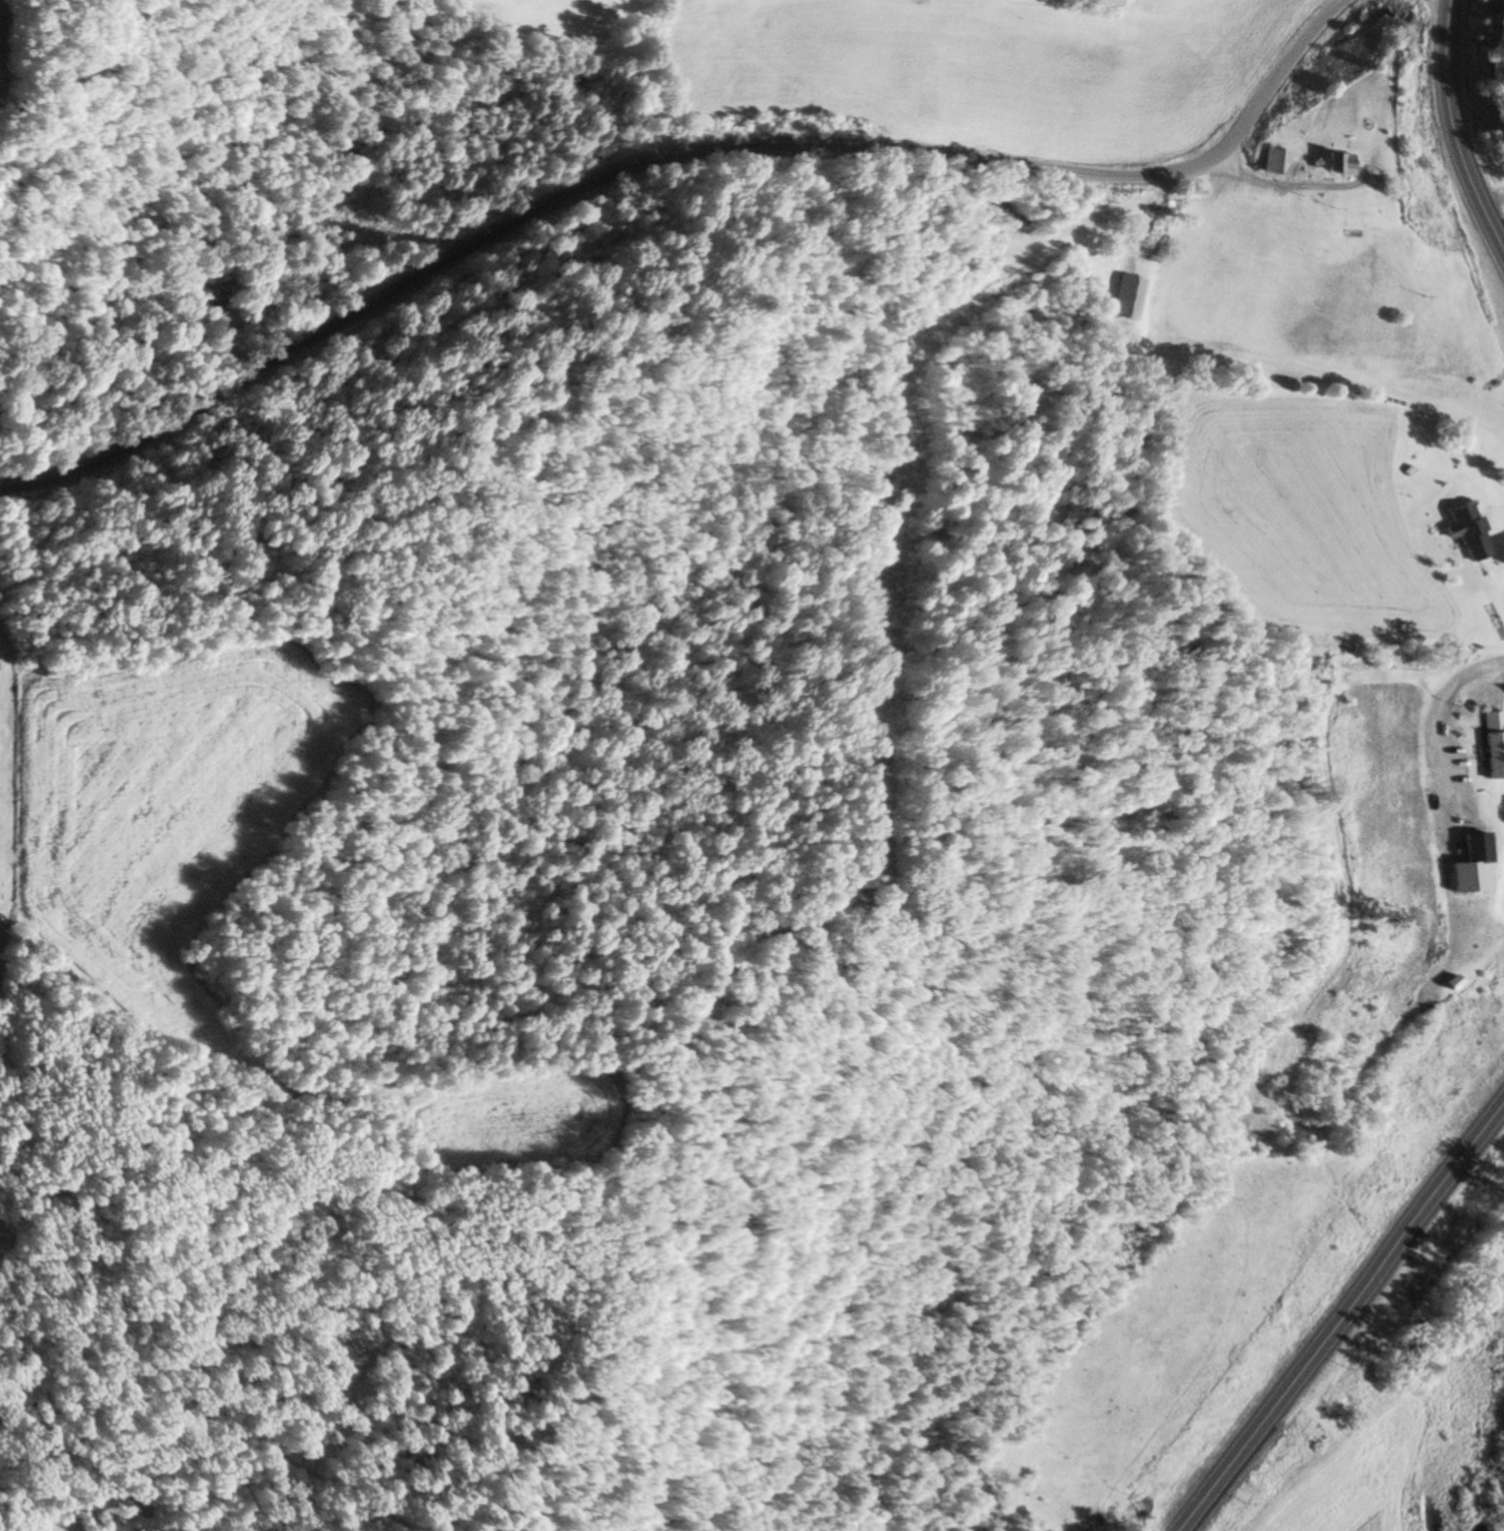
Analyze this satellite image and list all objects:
road: (1467, 126)
road: (670, 158)
building: (1271, 161)
building: (1336, 165)
building: (1127, 297)
building: (1468, 533)
road: (1449, 698)
building: (1493, 745)
building: (1475, 848)
road: (1342, 1317)

